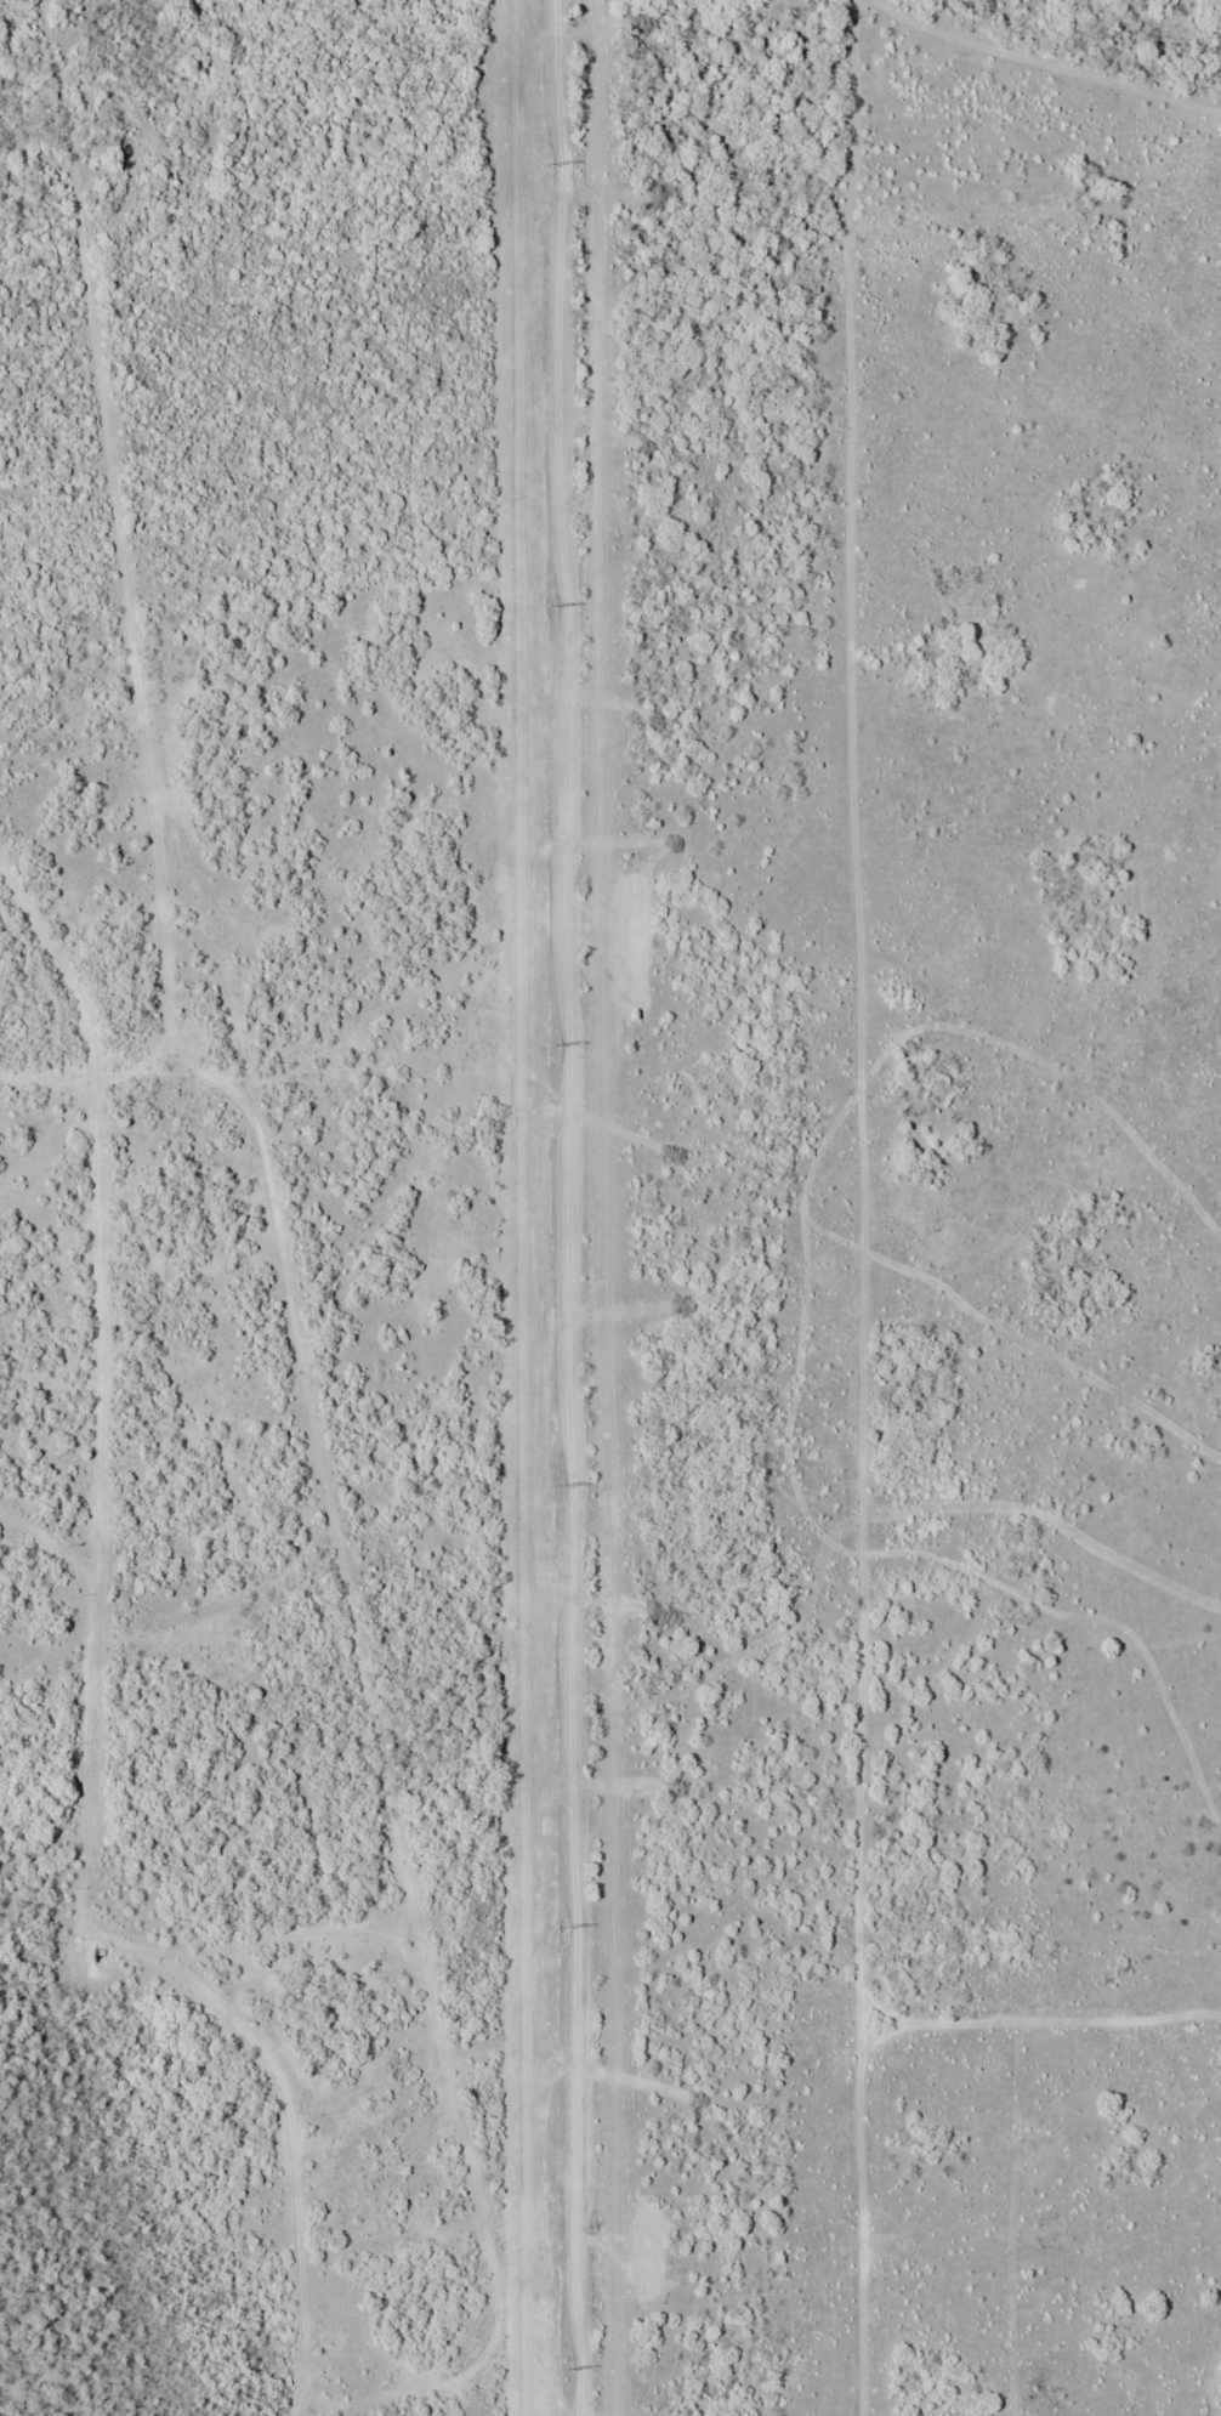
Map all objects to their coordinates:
power tower: (546, 165)
power tower: (549, 608)
road: (146, 992)
power tower: (552, 1047)
road: (123, 1094)
road: (306, 1237)
power tower: (556, 1487)
power tower: (561, 1930)
road: (215, 1967)
road: (408, 1983)
power tower: (566, 2370)

